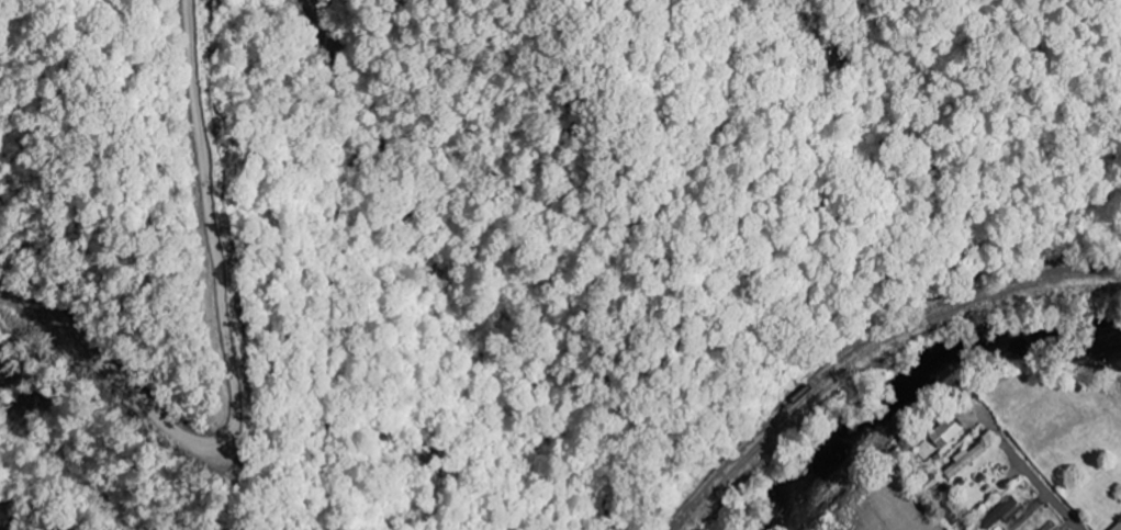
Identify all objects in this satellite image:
railway: (874, 347)
road: (282, 360)
river: (917, 376)
building: (946, 430)
road: (999, 437)
building: (966, 460)
road: (34, 486)
road: (1046, 492)
building: (1000, 512)
building: (1118, 527)

